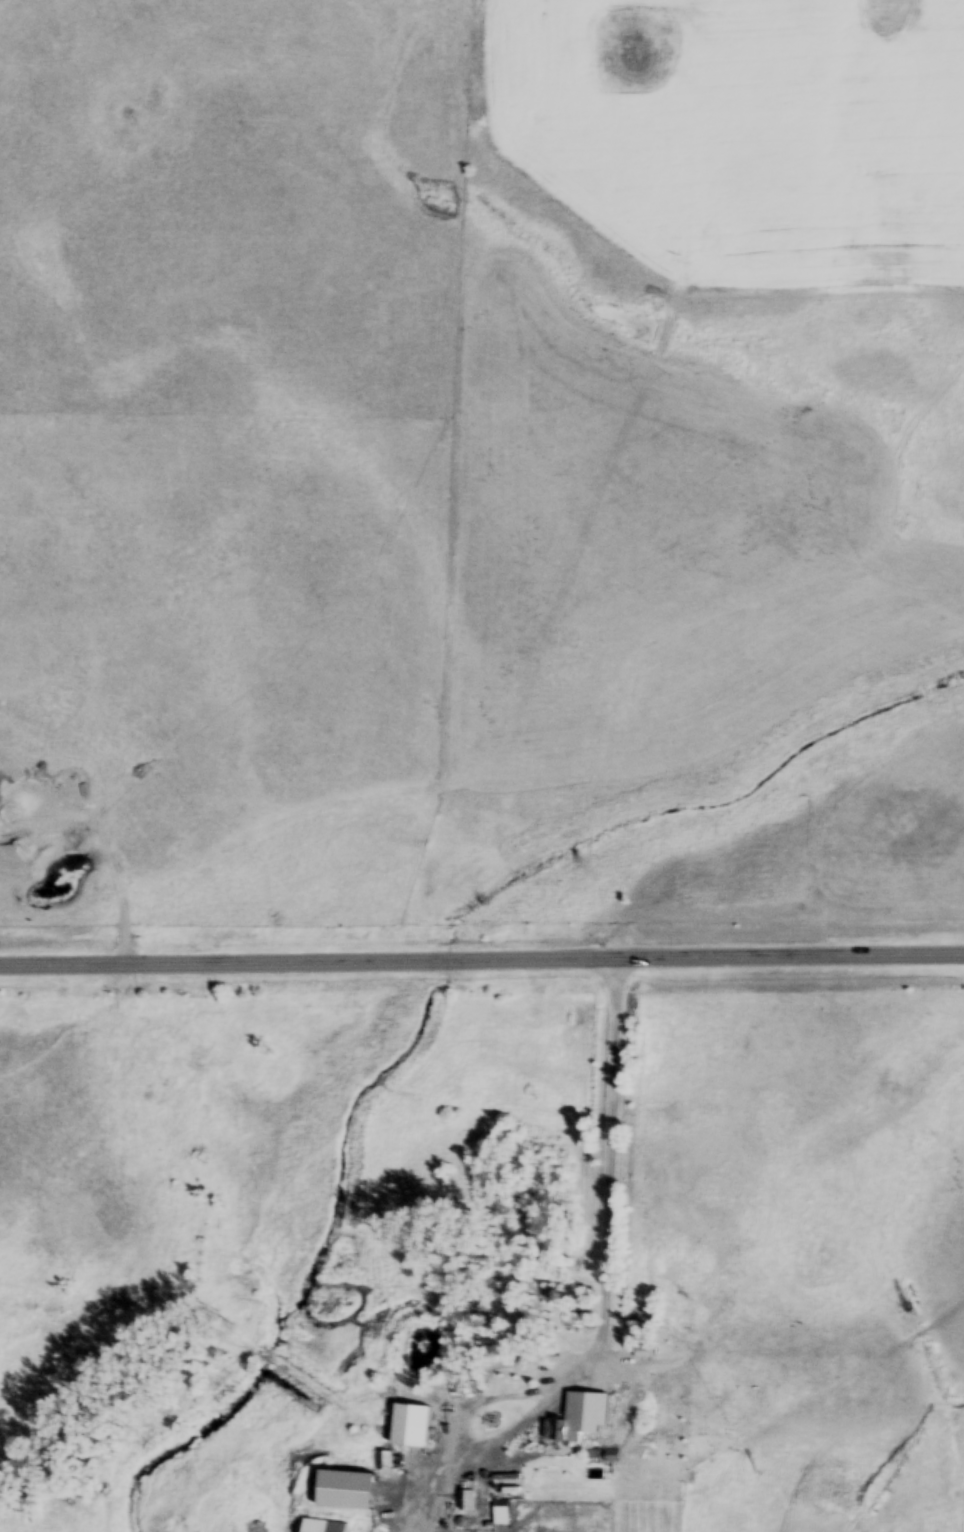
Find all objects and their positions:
road: (481, 957)
road: (609, 1183)
building: (543, 1376)
building: (410, 1427)
building: (562, 1430)
building: (467, 1503)
building: (502, 1512)
building: (322, 1527)
building: (384, 1530)

